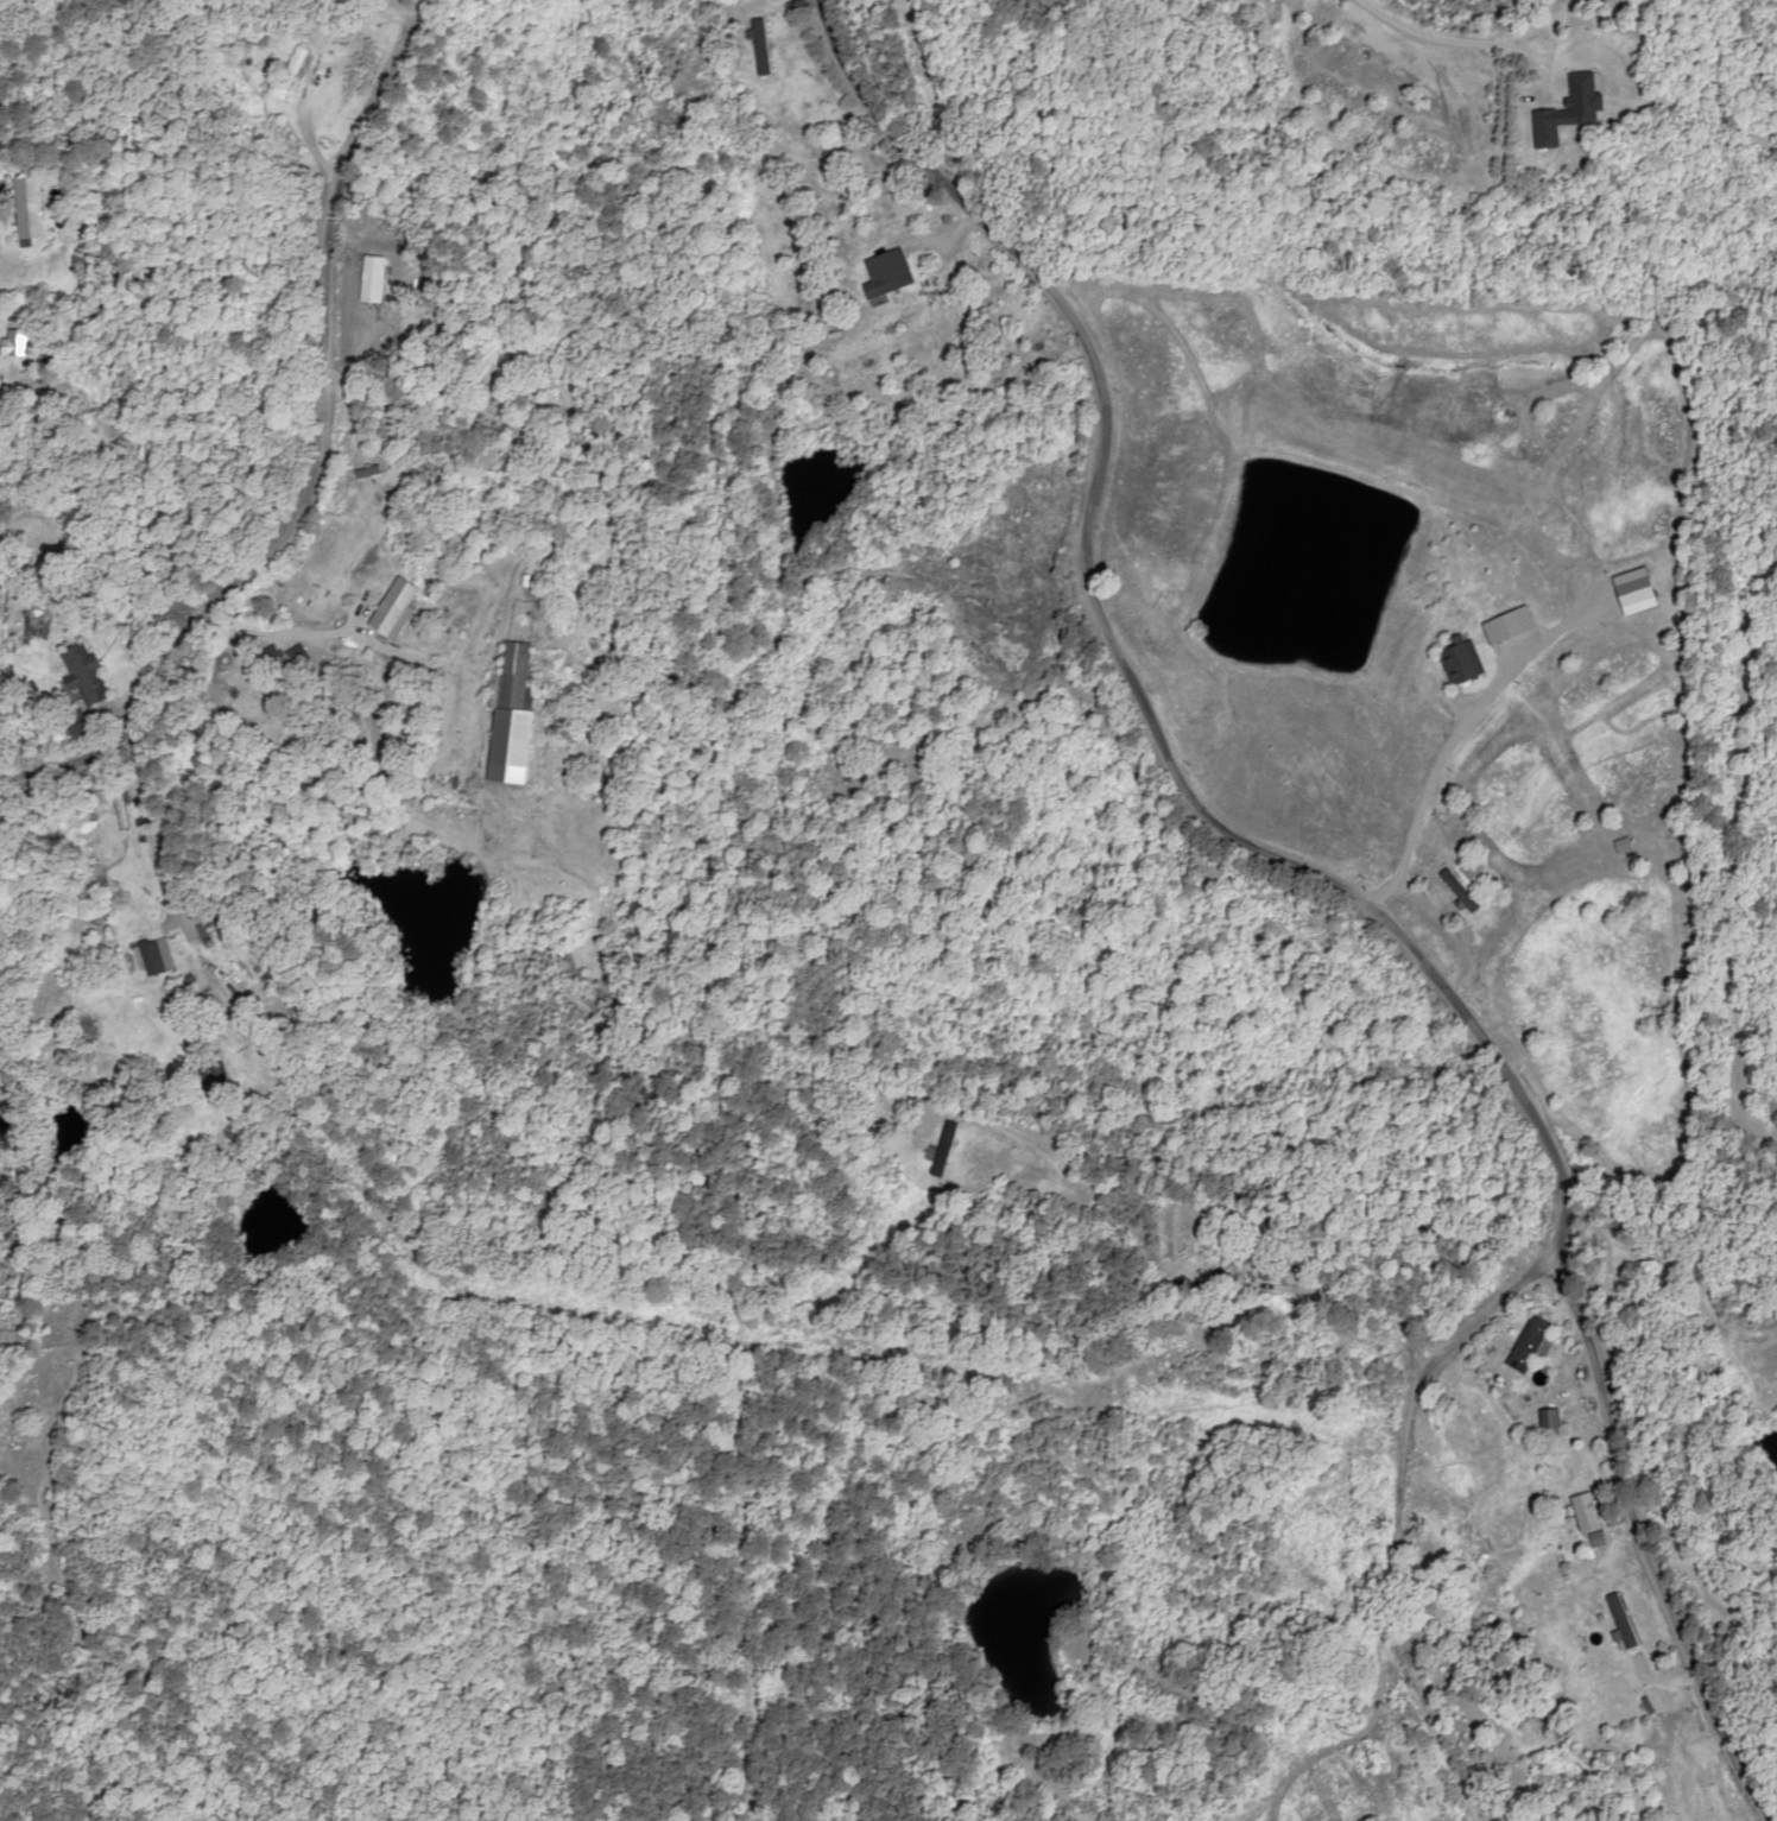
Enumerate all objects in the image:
building: (290, 72)
building: (1547, 127)
building: (282, 139)
building: (27, 207)
building: (886, 272)
building: (13, 342)
building: (110, 423)
road: (324, 455)
road: (64, 573)
building: (392, 608)
building: (1507, 625)
building: (296, 655)
building: (1460, 663)
building: (280, 672)
building: (84, 674)
building: (510, 715)
building: (82, 723)
building: (120, 810)
building: (1623, 846)
road: (1314, 864)
building: (1459, 891)
building: (154, 957)
road: (472, 1041)
building: (215, 1070)
building: (943, 1147)
building: (1258, 1263)
building: (1528, 1342)
road: (1328, 1373)
building: (1548, 1416)
road: (1450, 1497)

